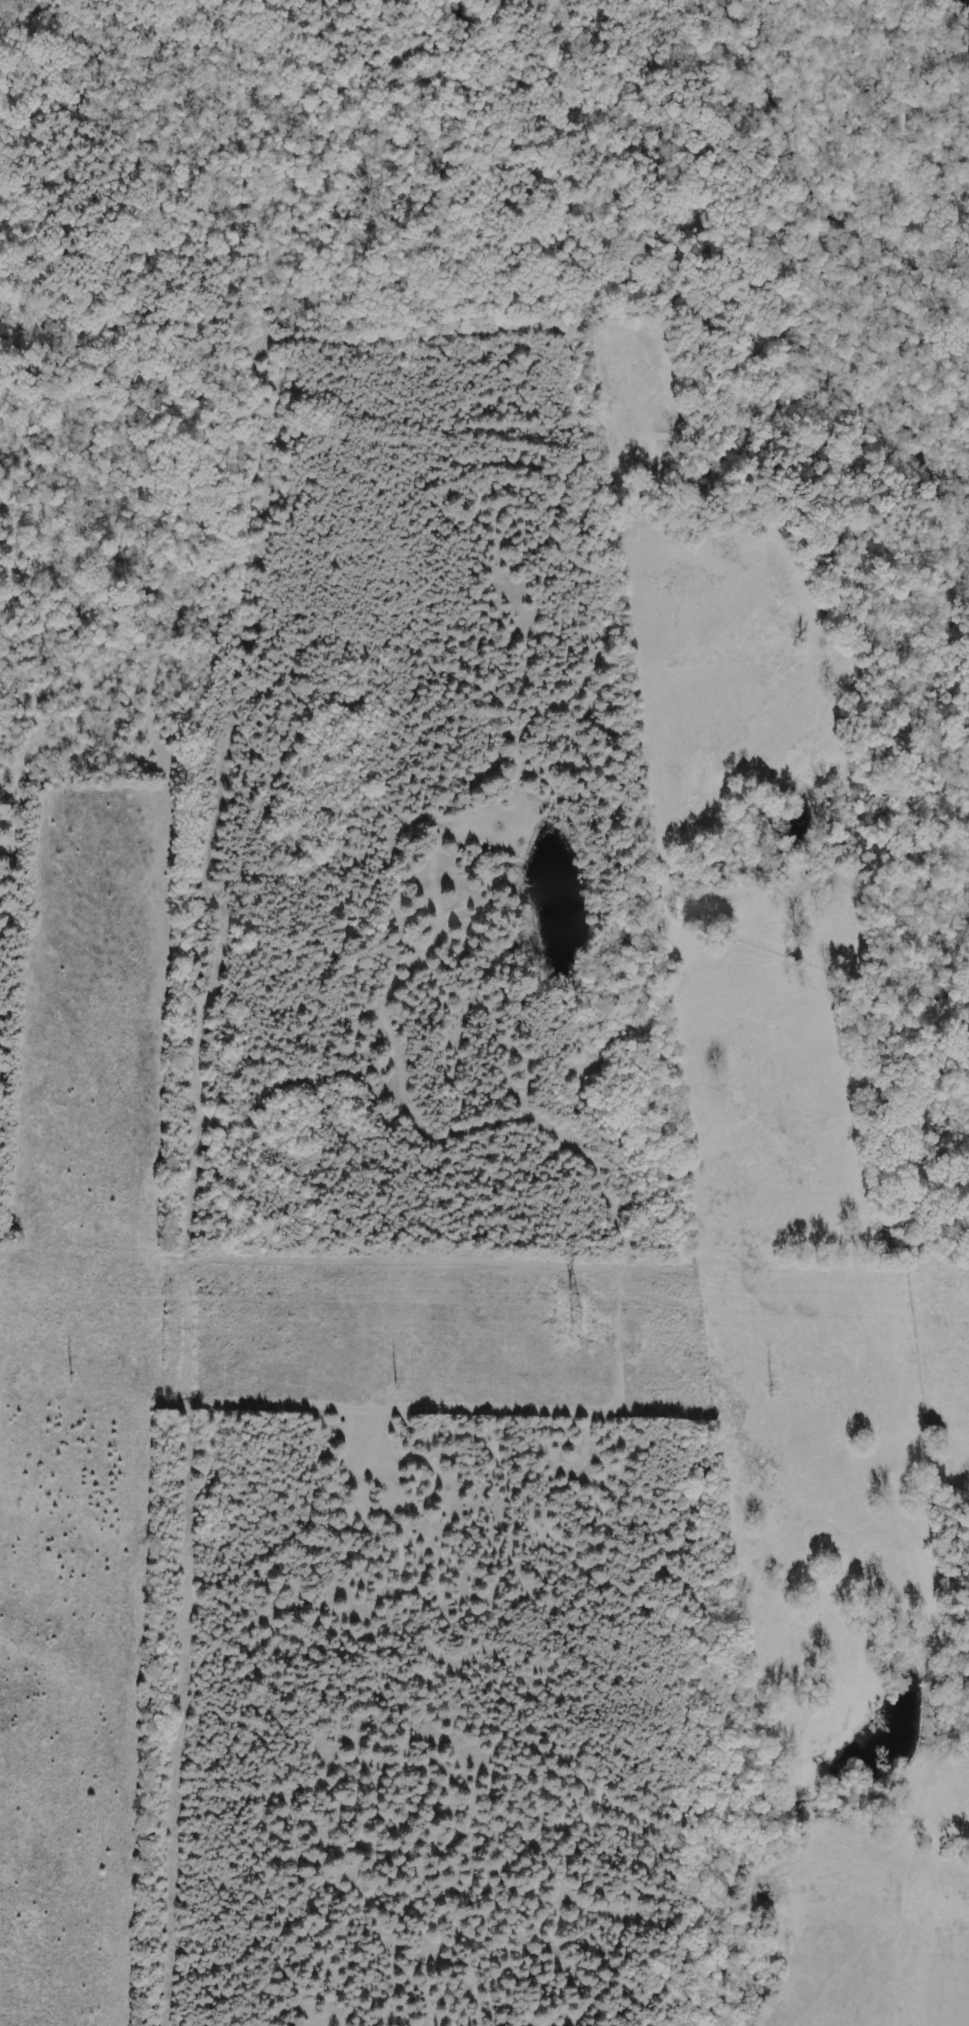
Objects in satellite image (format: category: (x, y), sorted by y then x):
power tower: (578, 1317)
road: (910, 1965)

